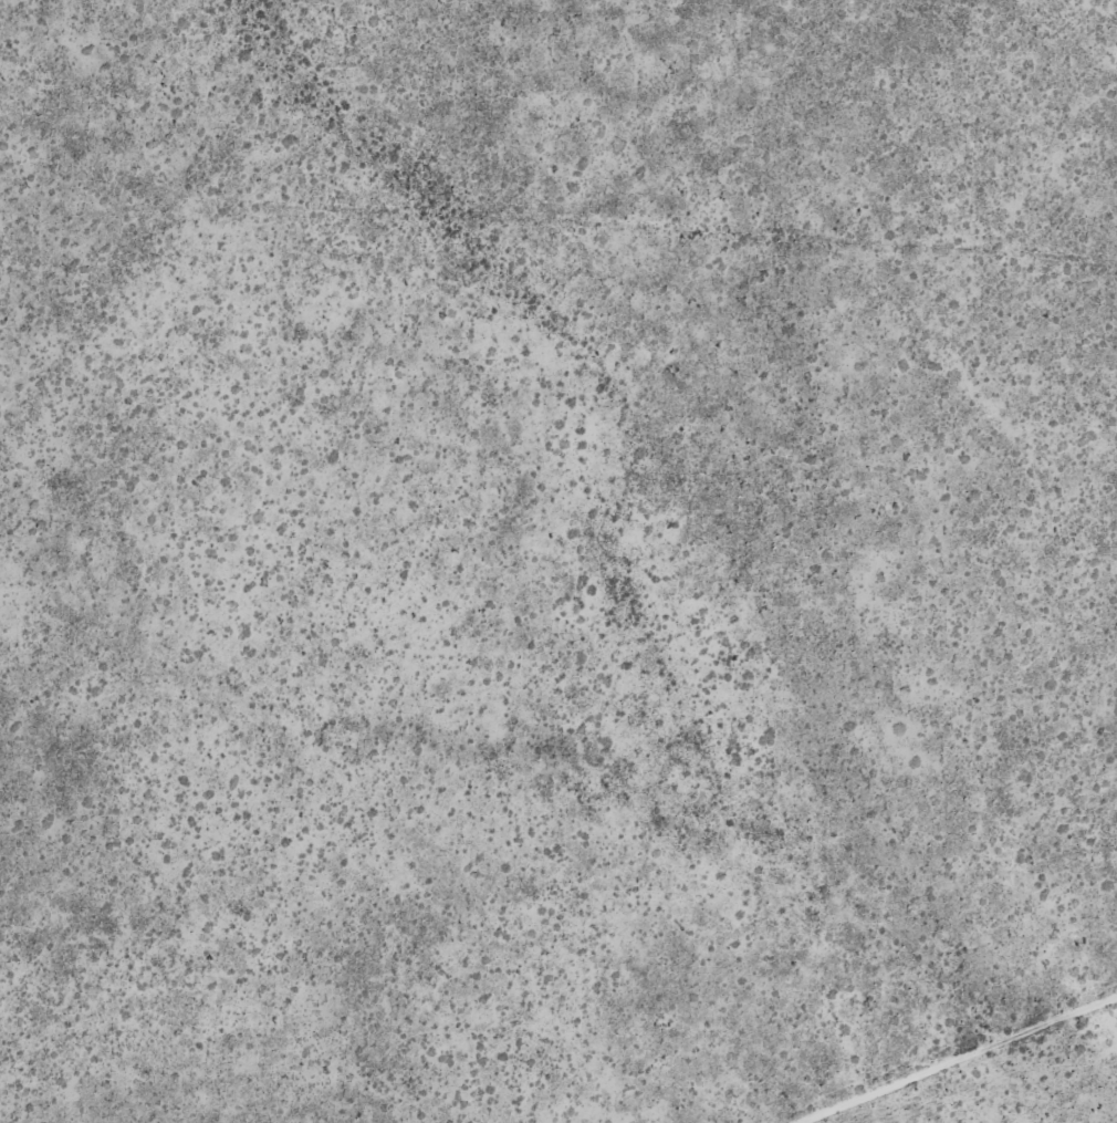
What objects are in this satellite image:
road: (941, 1050)

